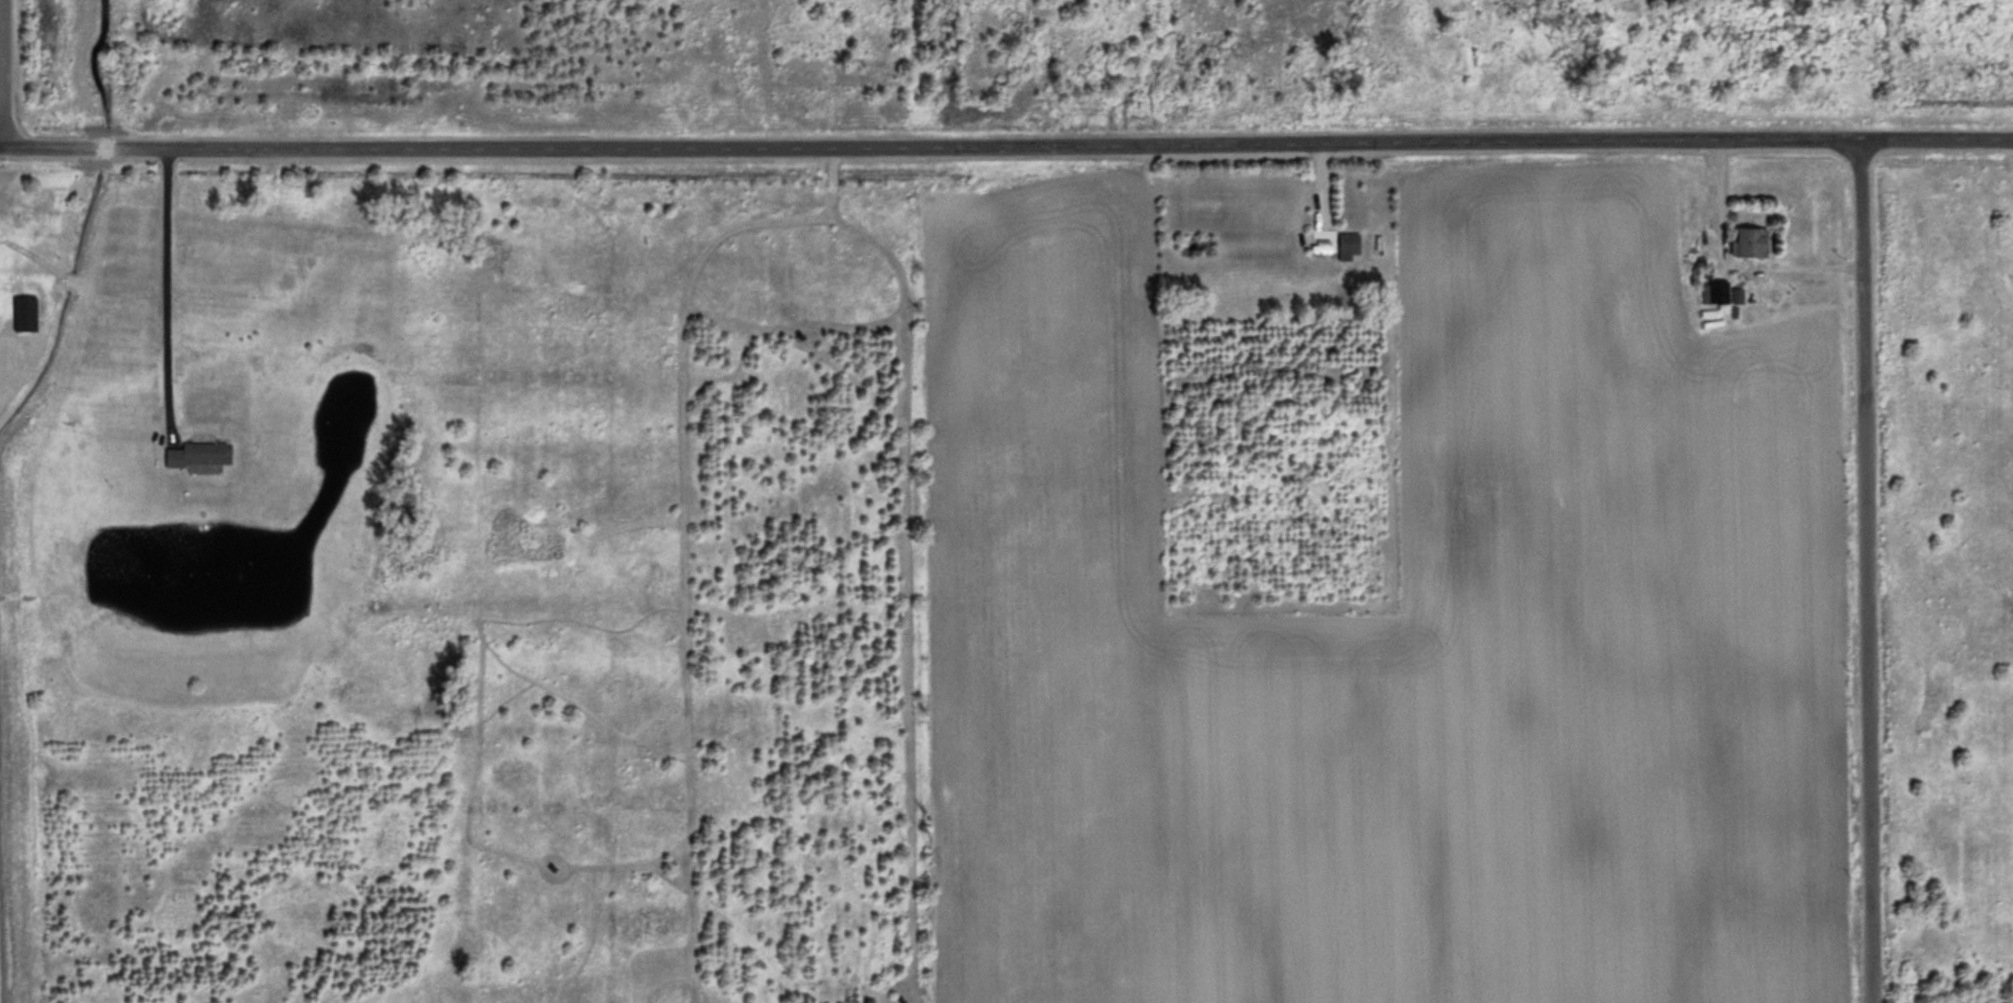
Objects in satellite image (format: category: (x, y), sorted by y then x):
road: (2, 88)
road: (1006, 140)
building: (1749, 240)
building: (1347, 243)
building: (1718, 290)
building: (24, 311)
building: (199, 452)
road: (1866, 570)

